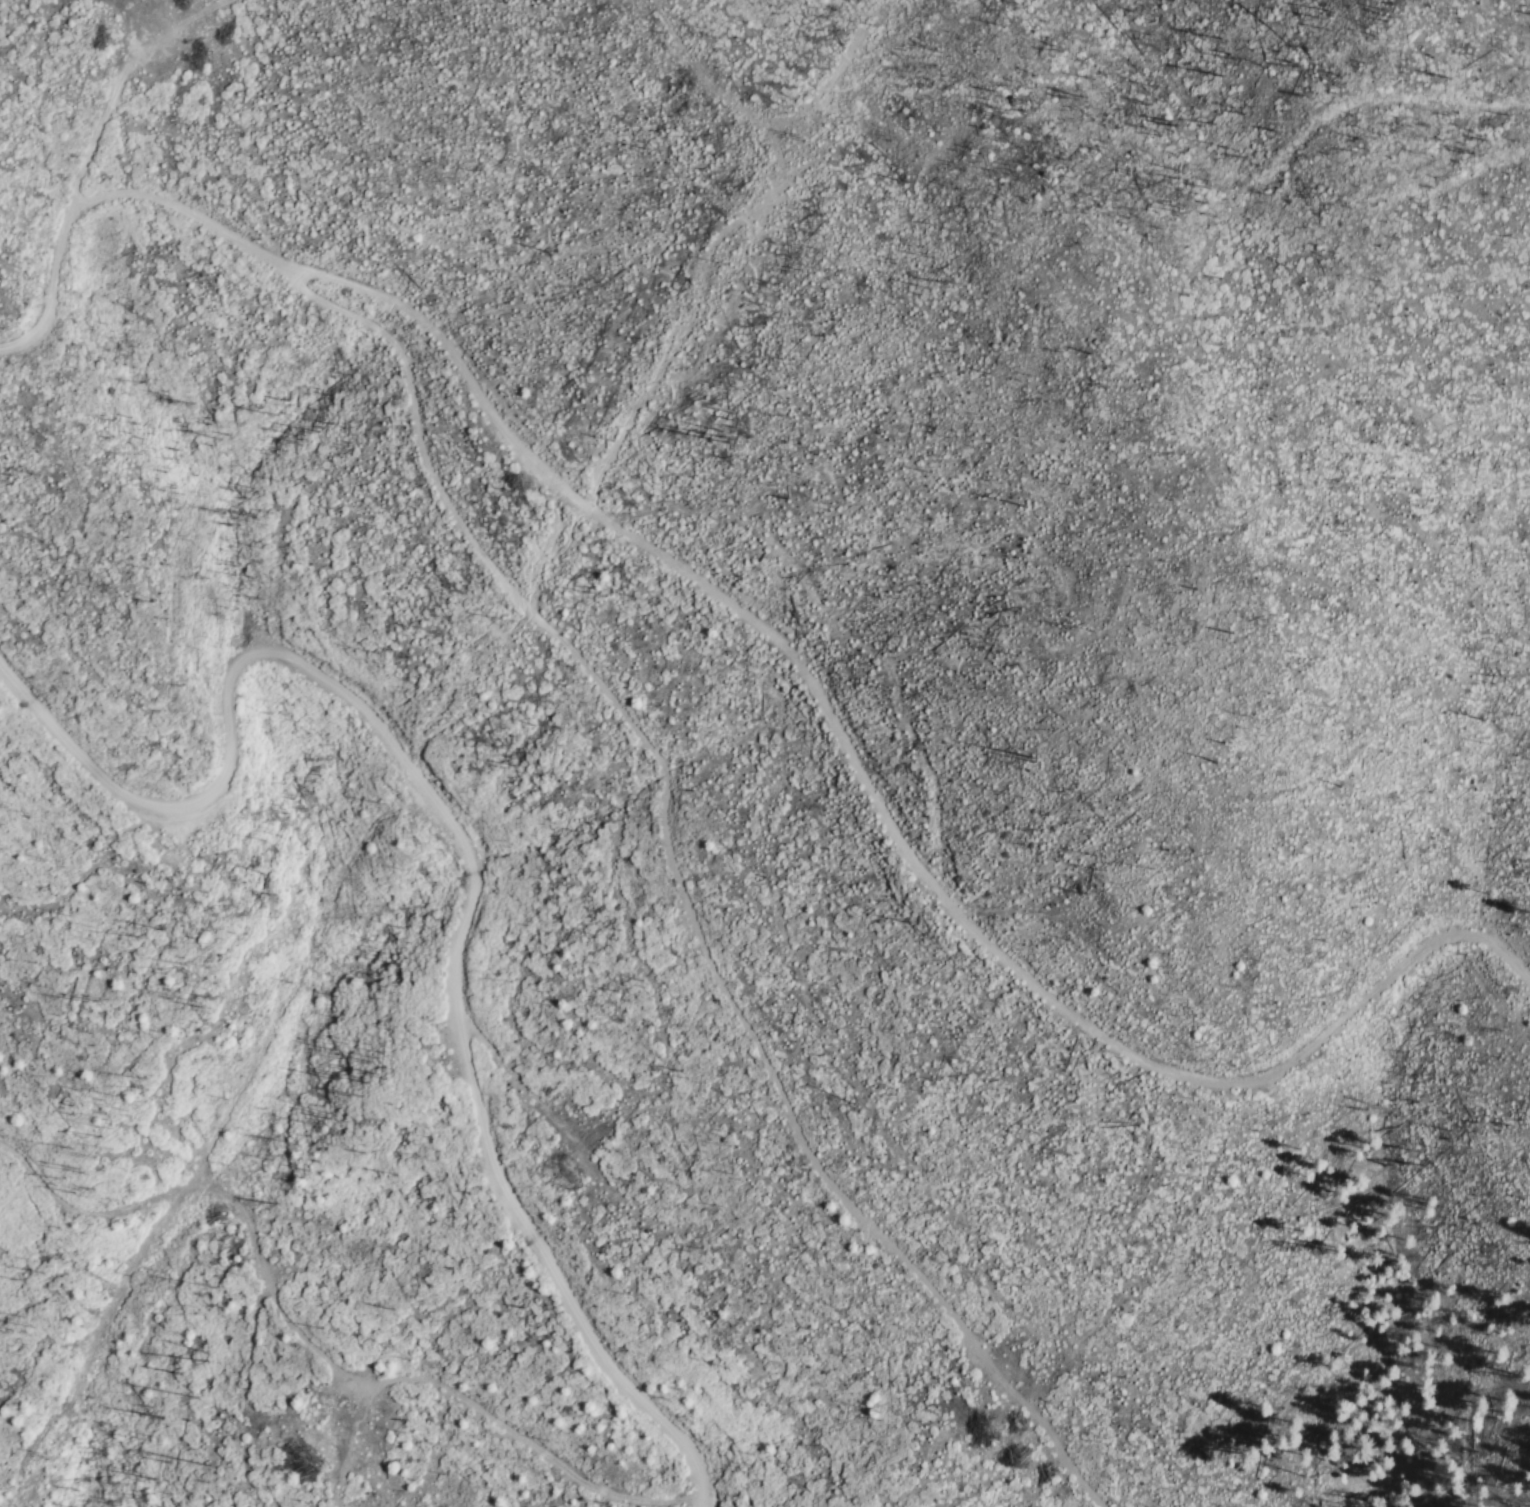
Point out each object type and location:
road: (118, 87)
road: (771, 636)
road: (465, 850)
road: (678, 881)
road: (462, 1398)

